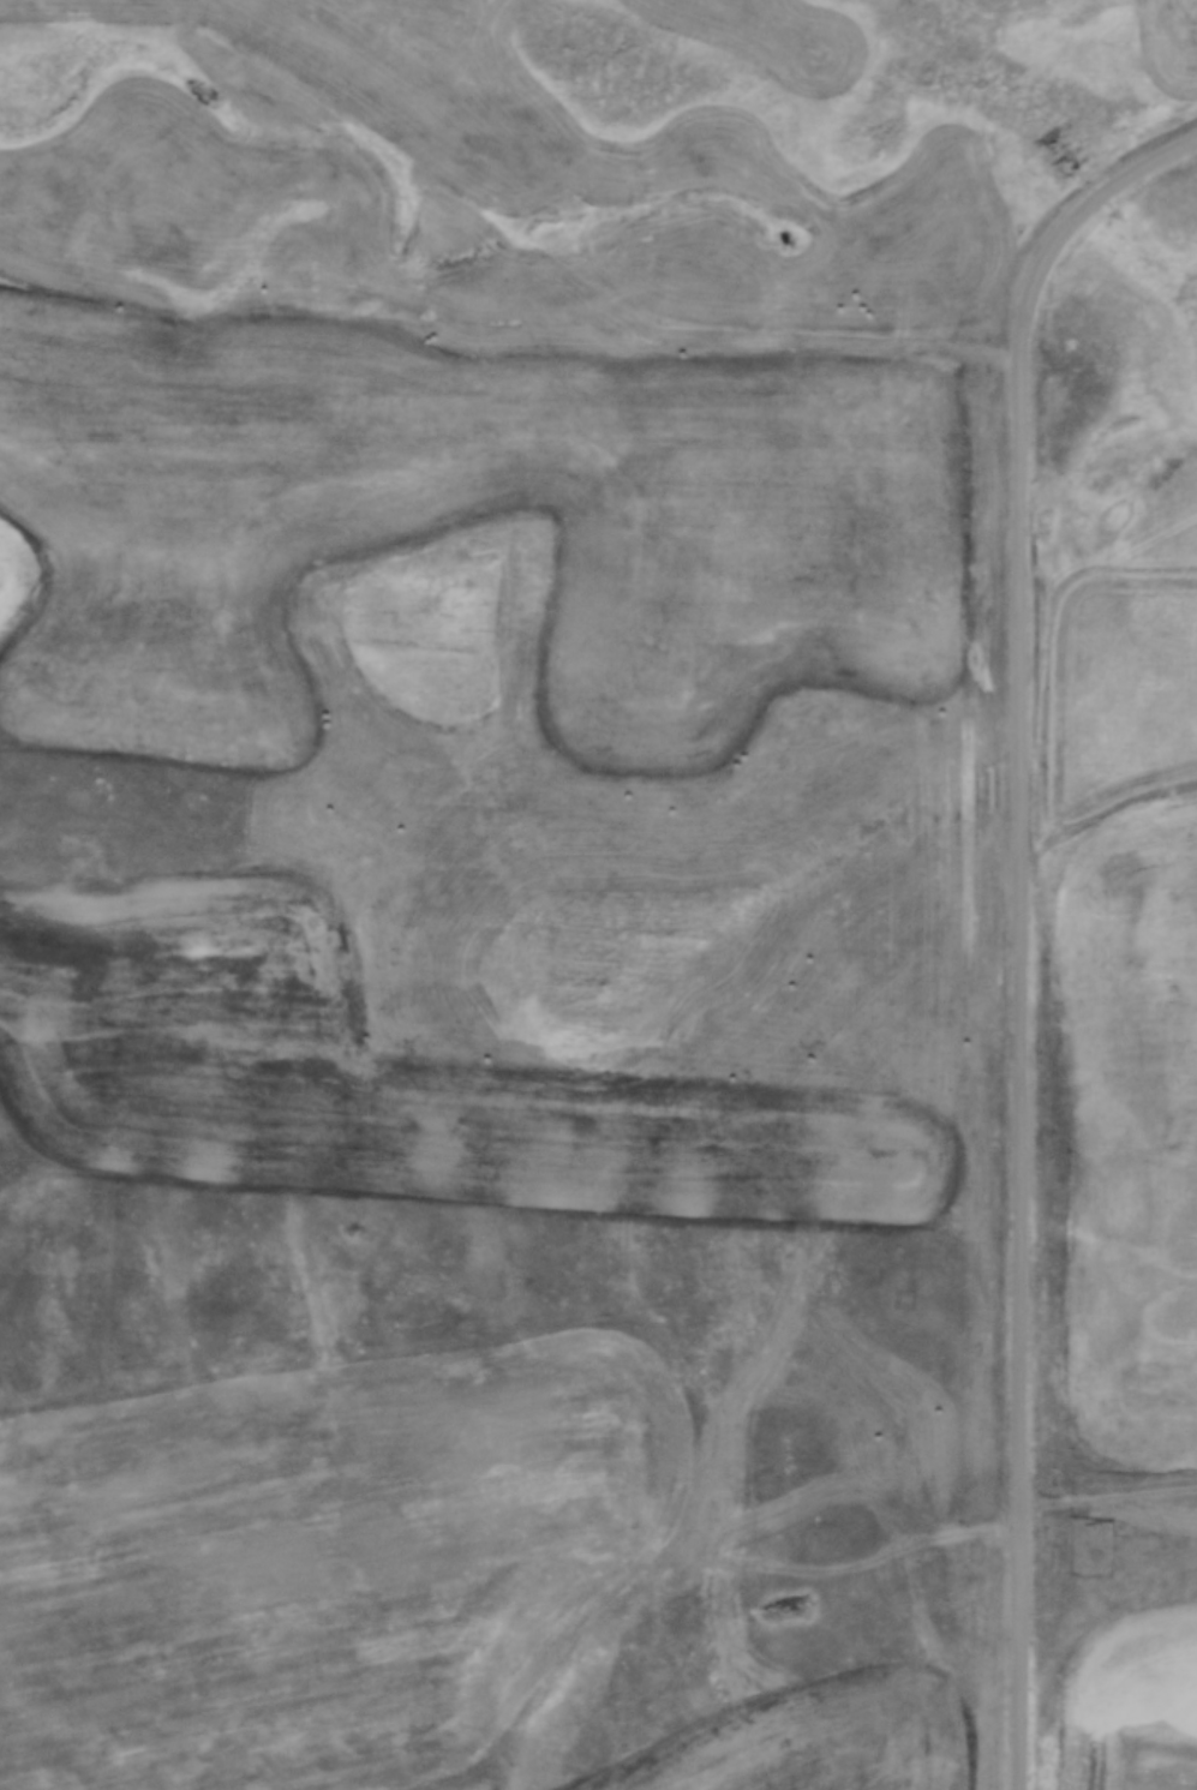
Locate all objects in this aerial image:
road: (1022, 926)

